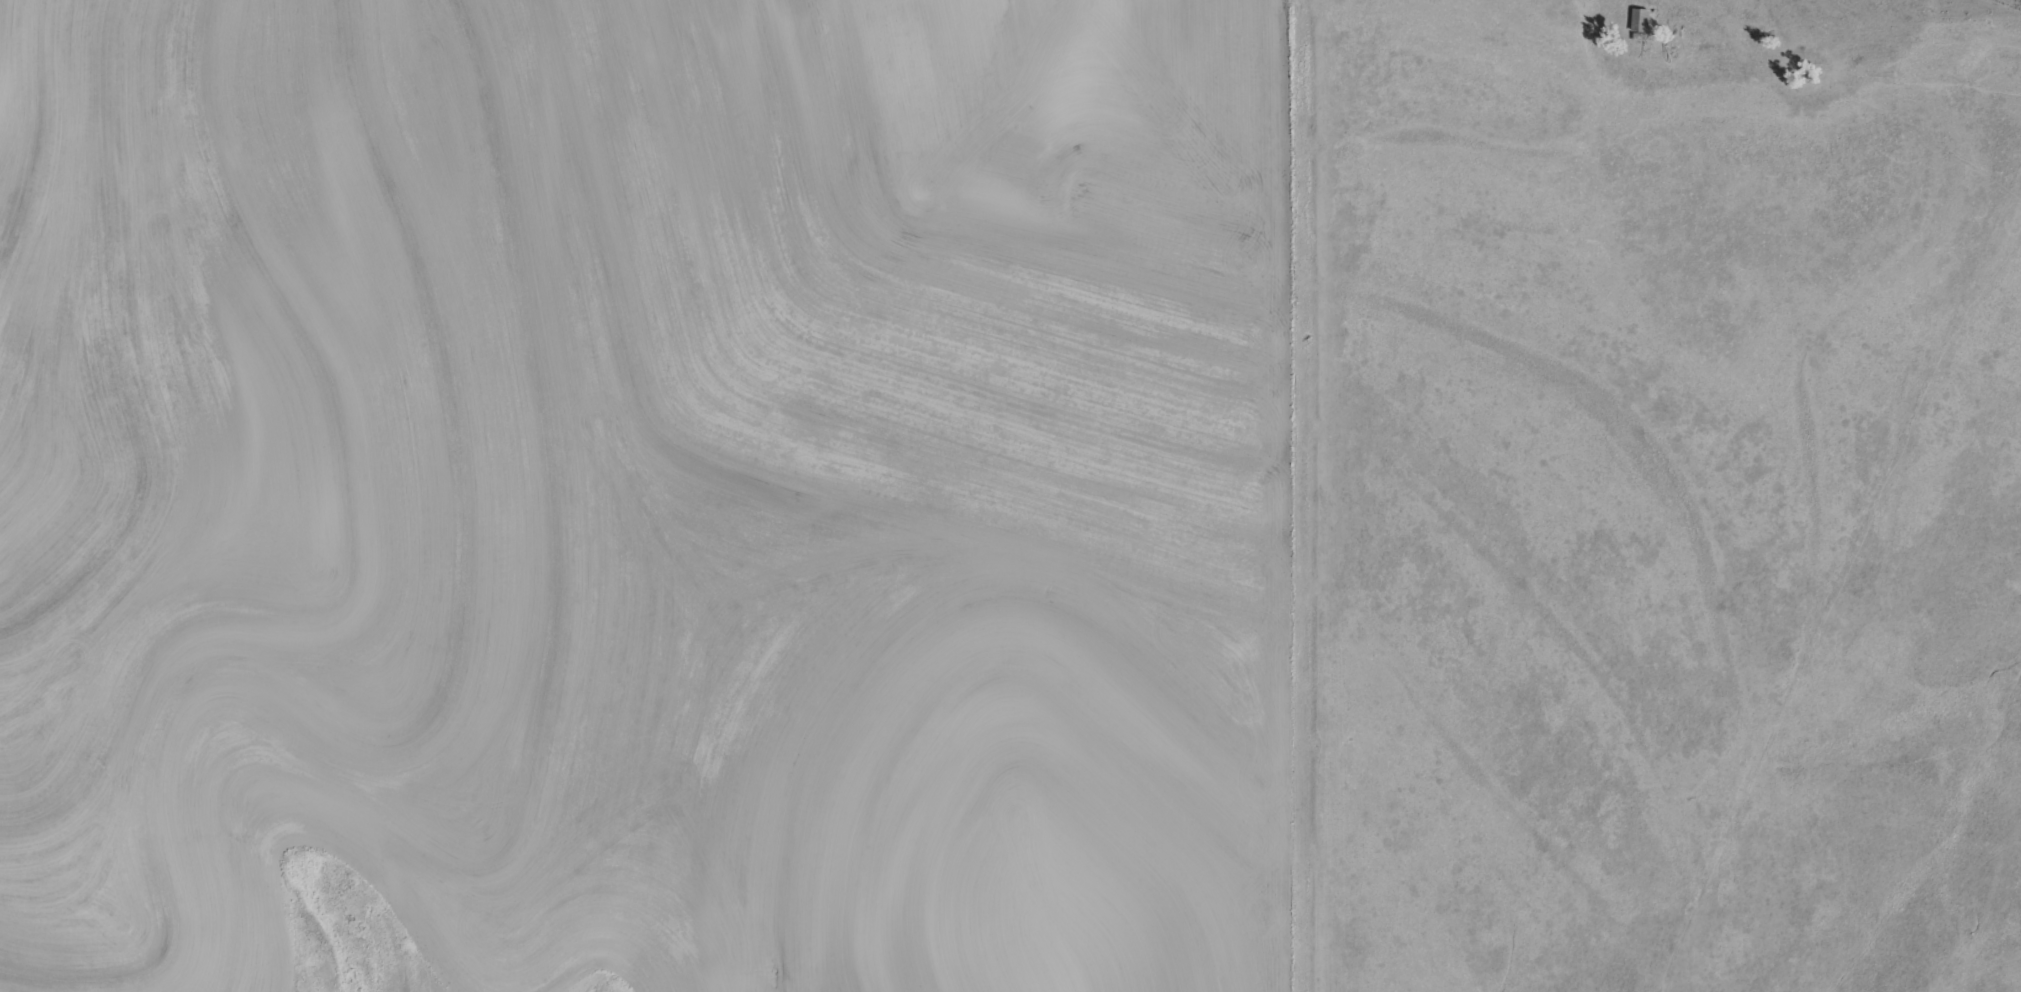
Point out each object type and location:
building: (1642, 21)

